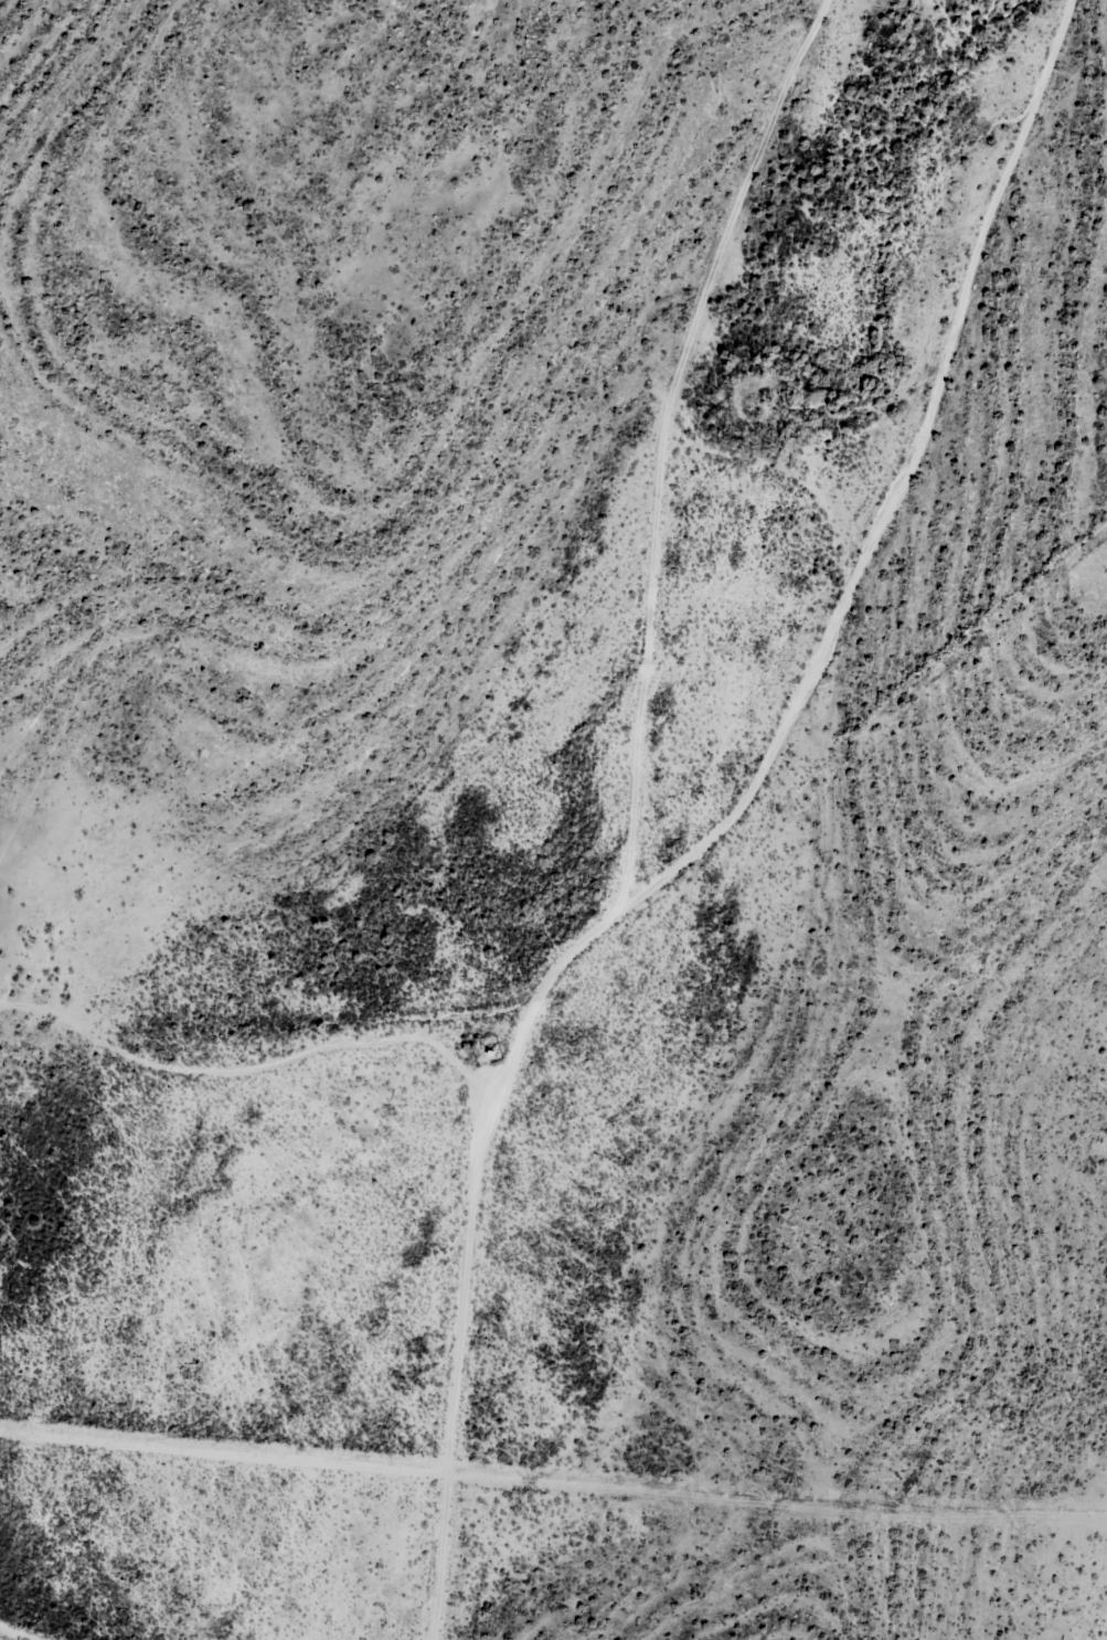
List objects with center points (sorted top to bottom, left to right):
road: (667, 807)

